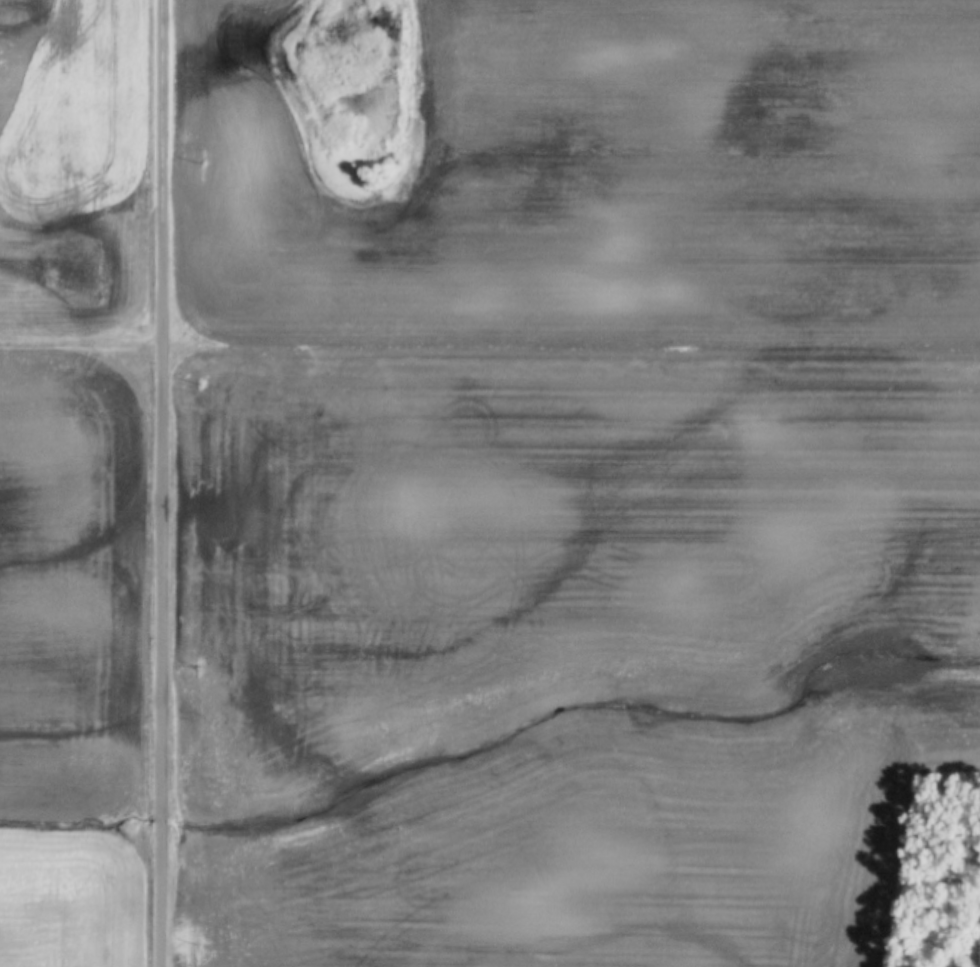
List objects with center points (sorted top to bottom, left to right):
road: (81, 345)
road: (163, 483)

